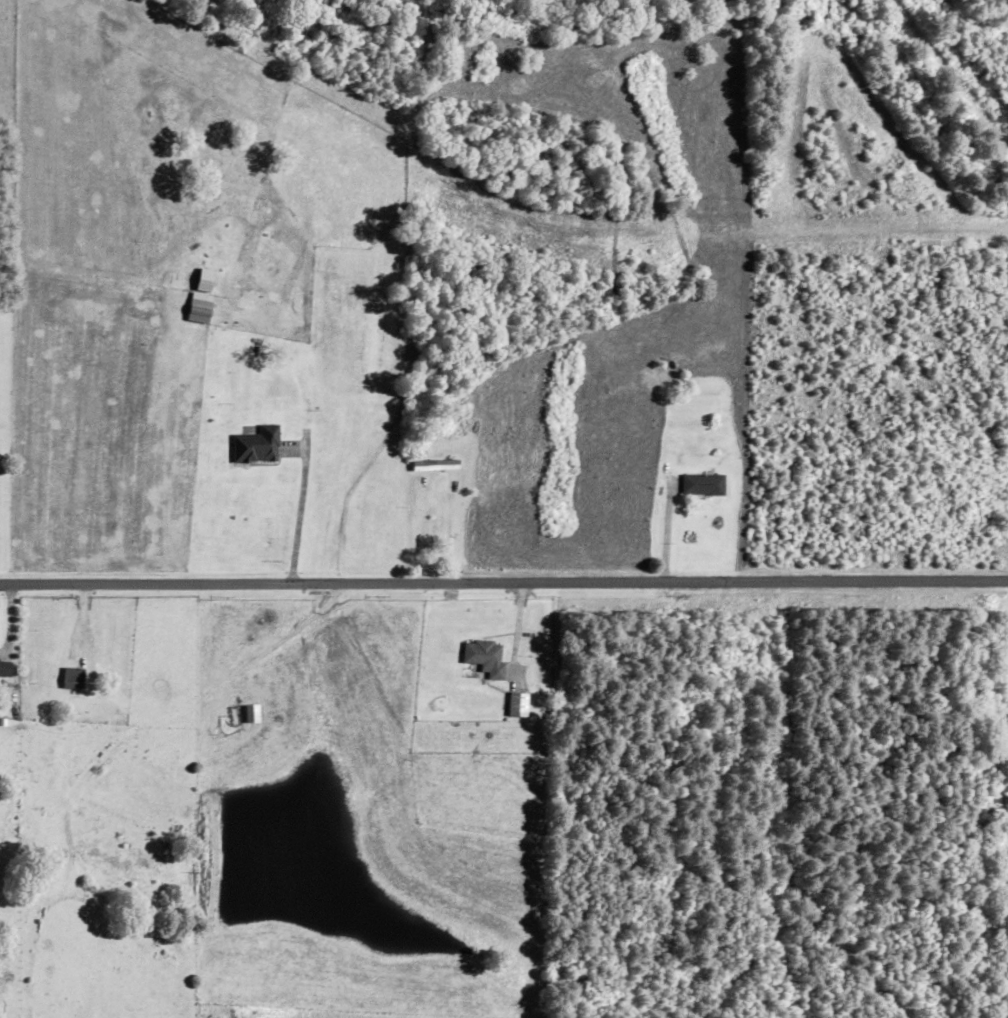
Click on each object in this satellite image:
building: (197, 308)
building: (255, 445)
building: (434, 465)
building: (701, 485)
road: (299, 507)
road: (665, 531)
road: (504, 581)
building: (484, 657)
building: (1007, 659)
building: (73, 678)
building: (517, 704)
building: (251, 713)

